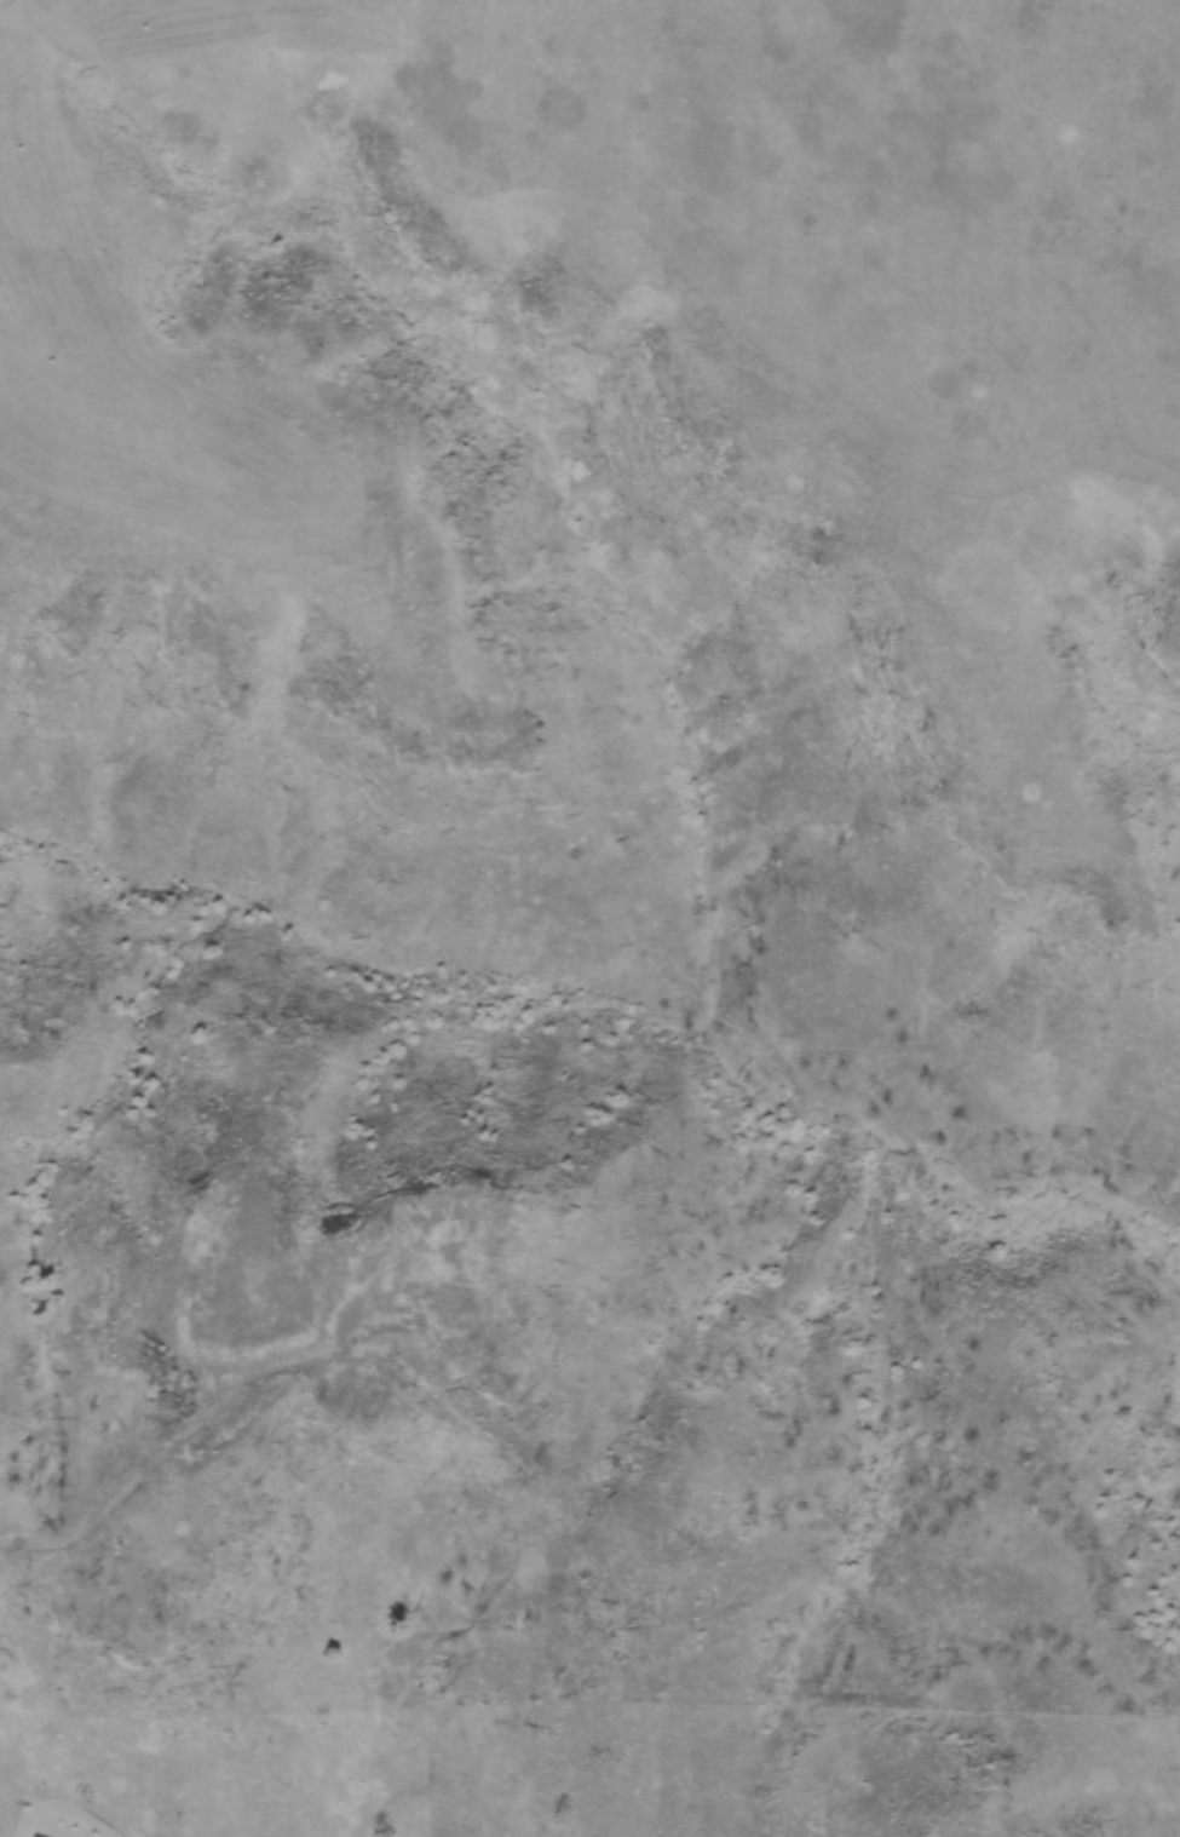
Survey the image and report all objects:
building: (38, 1835)

